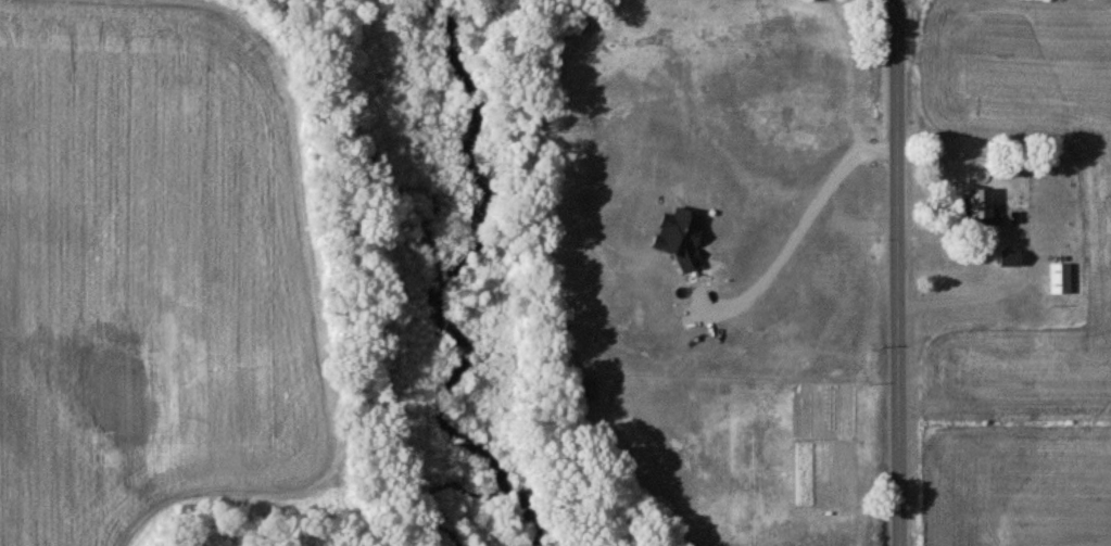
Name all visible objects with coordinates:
building: (984, 205)
road: (800, 232)
building: (1011, 259)
road: (1023, 265)
road: (893, 272)
building: (1062, 279)

